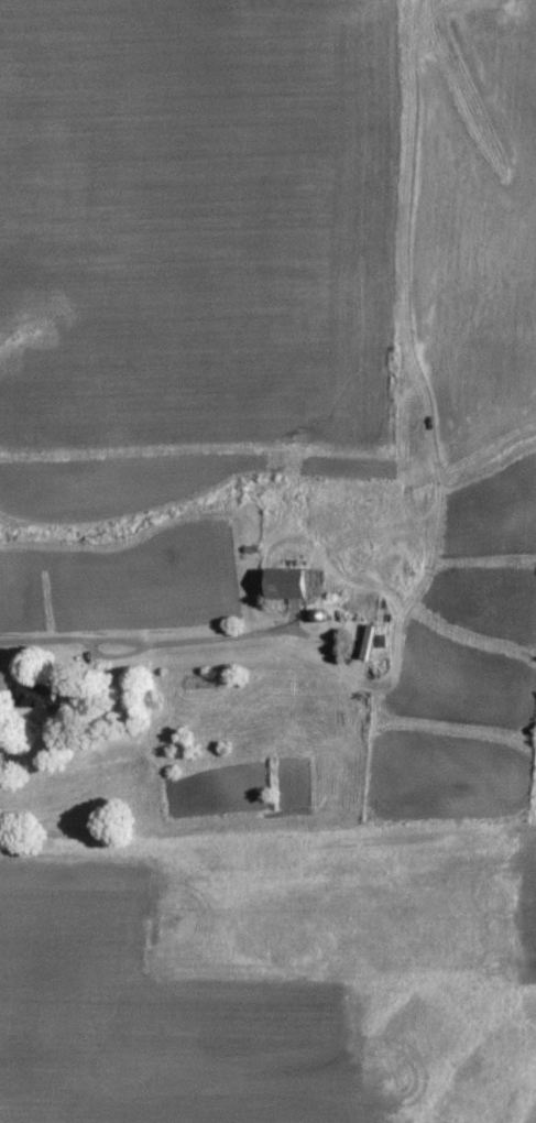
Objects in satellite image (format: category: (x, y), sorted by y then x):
building: (296, 586)
road: (165, 646)
building: (41, 696)

